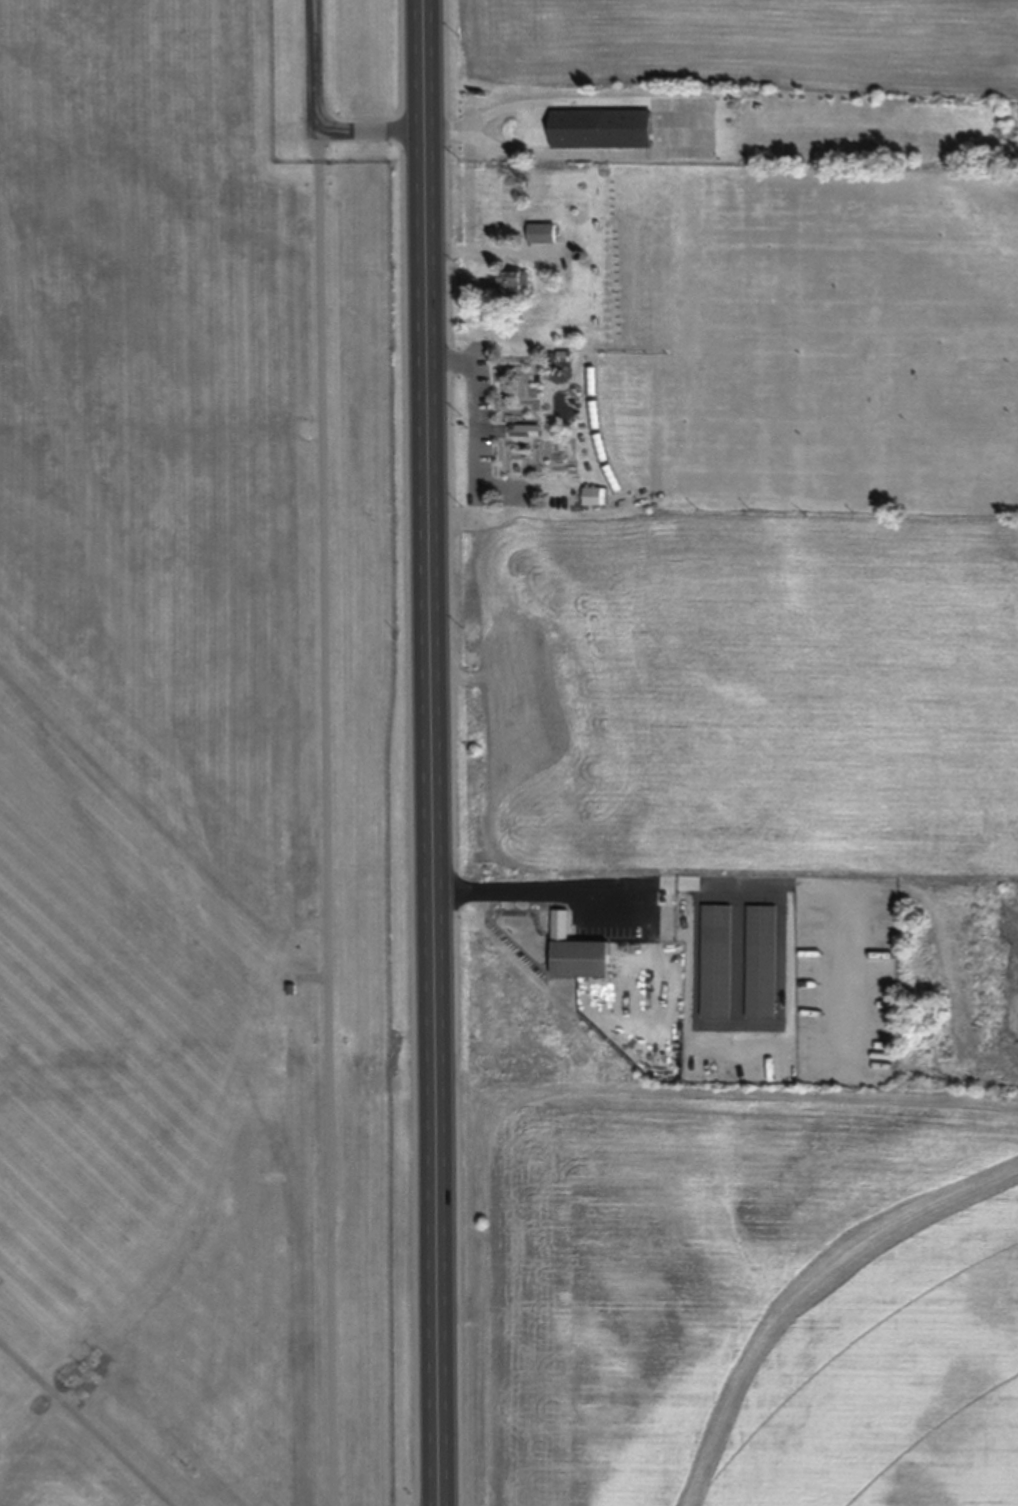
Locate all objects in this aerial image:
crop: (734, 45)
building: (599, 127)
building: (542, 233)
building: (514, 282)
building: (590, 381)
building: (593, 415)
building: (525, 430)
road: (324, 752)
road: (441, 752)
airport: (205, 755)
road: (710, 880)
road: (543, 888)
road: (651, 957)
building: (574, 959)
building: (713, 959)
building: (758, 960)
building: (292, 988)
crop: (735, 1296)
road: (86, 1423)

